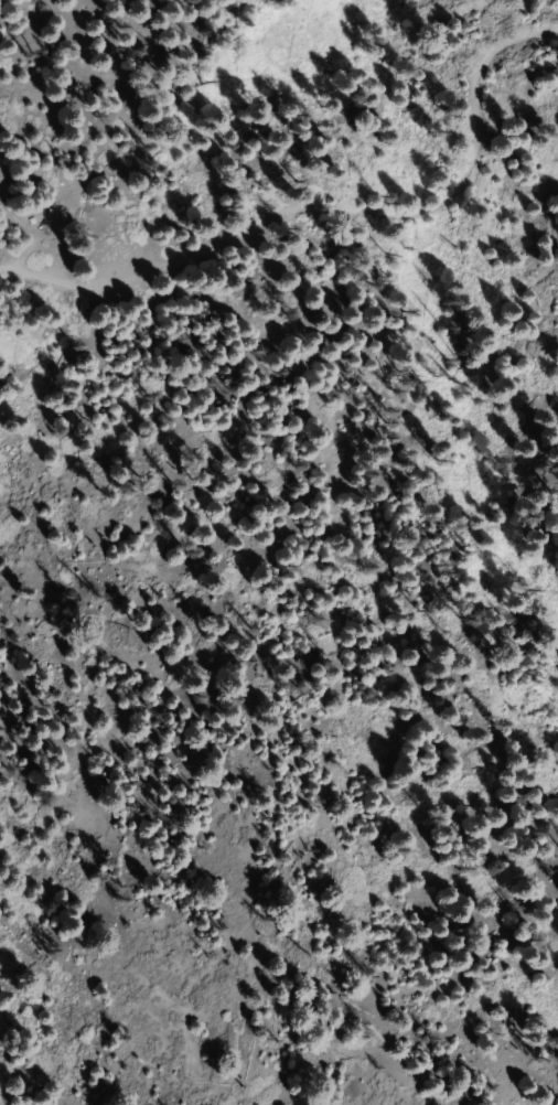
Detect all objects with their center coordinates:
road: (330, 215)

